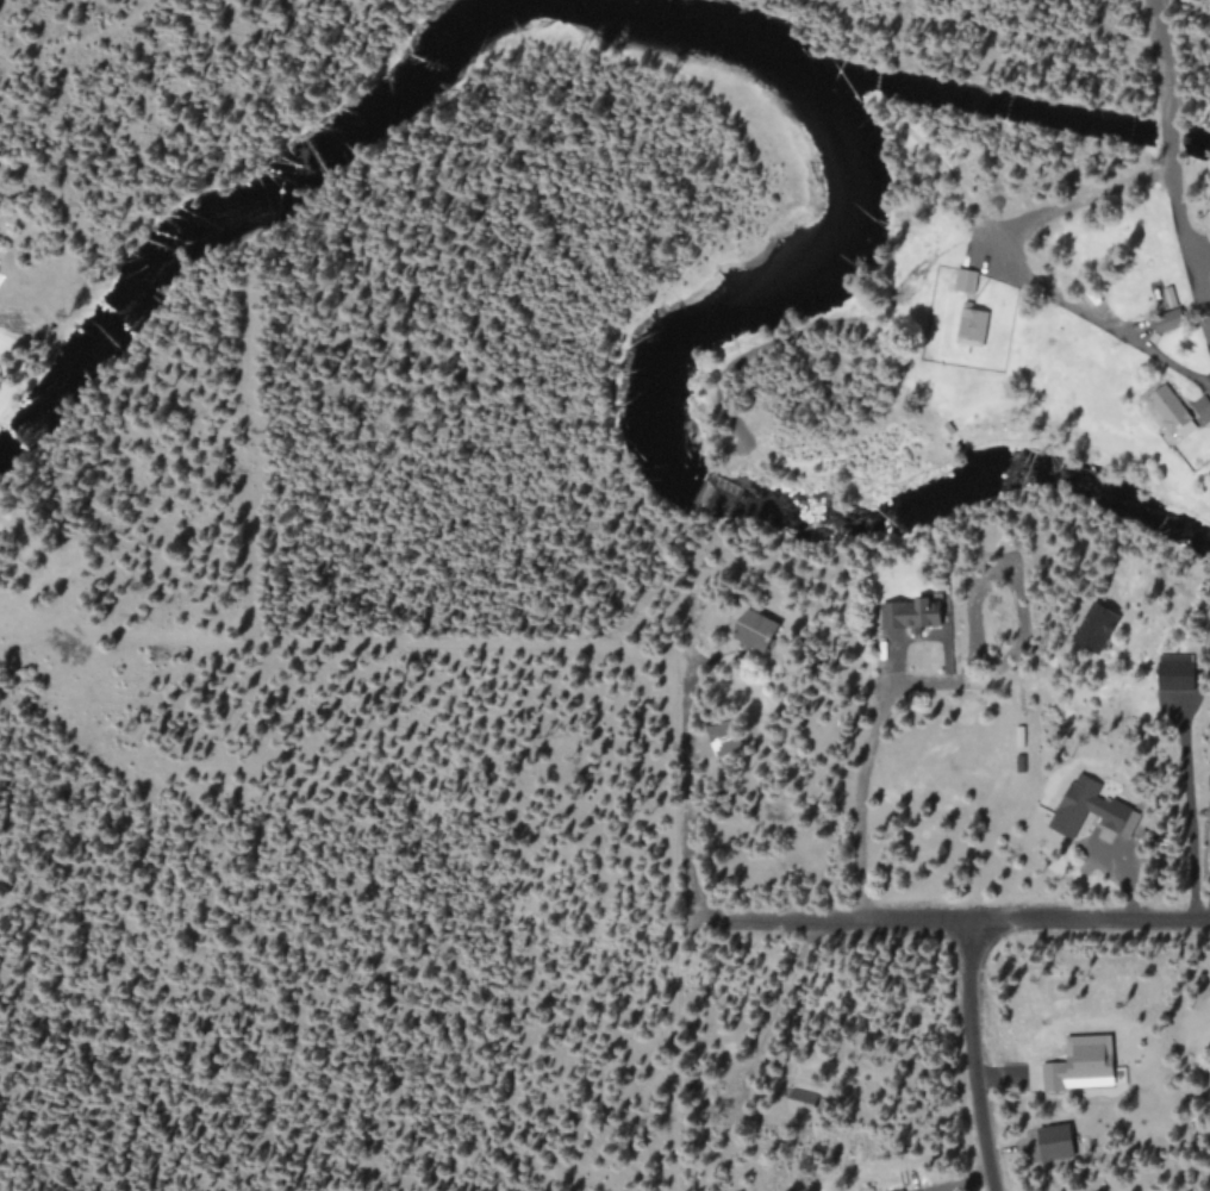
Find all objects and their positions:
river: (536, 18)
river: (978, 102)
river: (1172, 137)
river: (1200, 142)
road: (1173, 149)
building: (965, 280)
building: (971, 326)
building: (1171, 412)
building: (755, 630)
road: (690, 793)
building: (1087, 807)
road: (949, 921)
road: (973, 1056)
building: (1081, 1064)
building: (1055, 1141)

